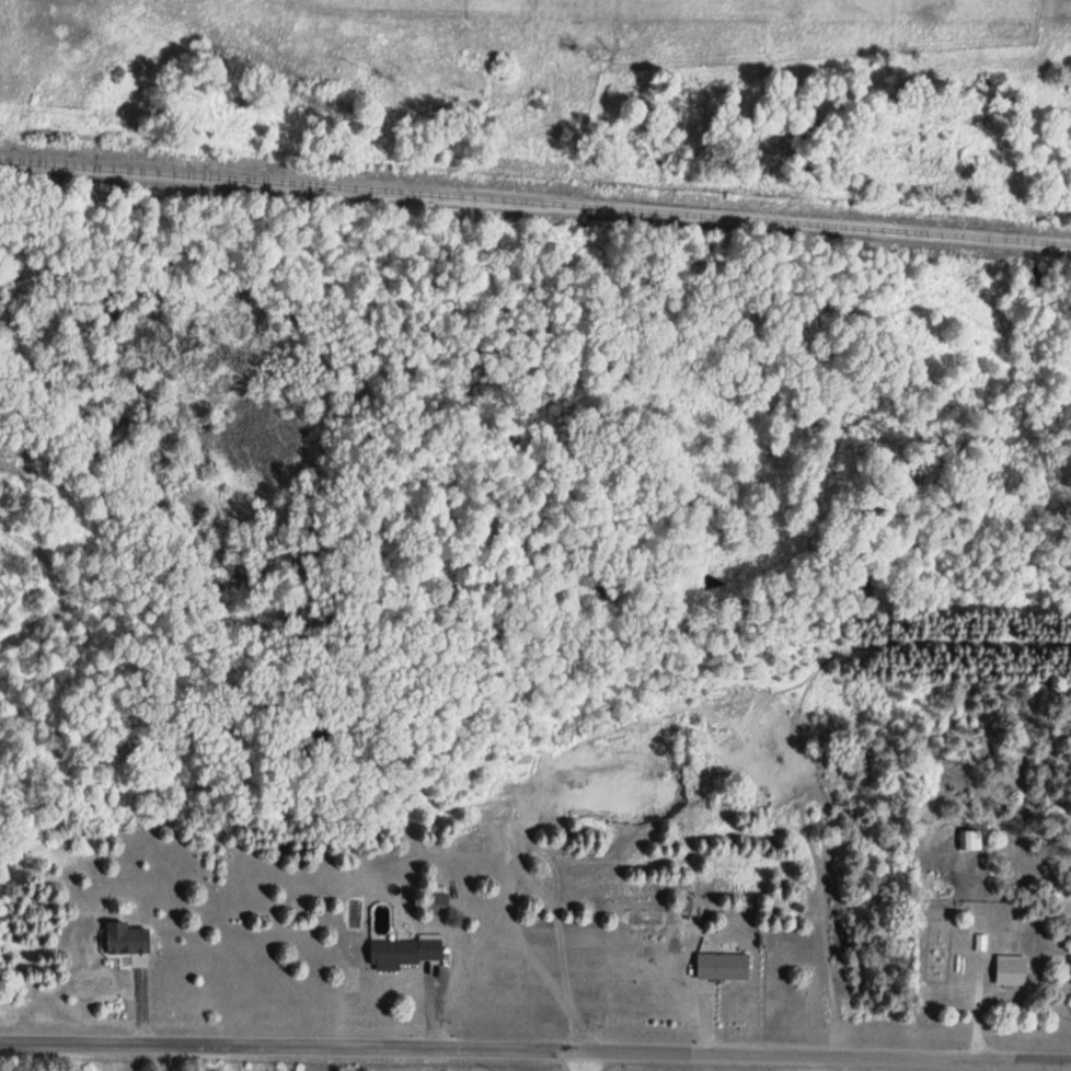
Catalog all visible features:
railway: (535, 198)
building: (969, 841)
building: (438, 905)
building: (127, 940)
building: (404, 954)
building: (723, 967)
building: (1011, 972)
road: (535, 1046)

